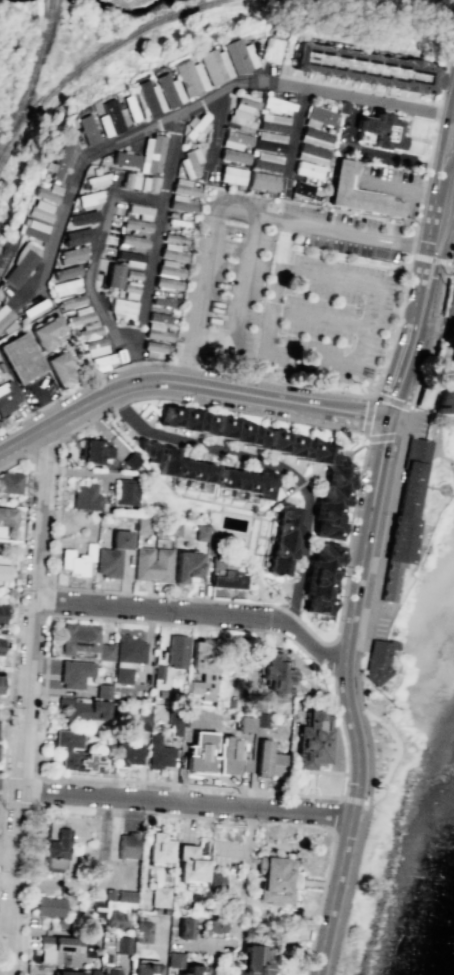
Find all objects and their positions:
railway: (51, 3)
park: (140, 5)
building: (271, 50)
building: (240, 55)
railway: (92, 57)
building: (366, 64)
building: (215, 65)
building: (190, 77)
railway: (30, 82)
building: (167, 90)
road: (365, 90)
building: (148, 97)
road: (37, 100)
building: (277, 105)
building: (128, 108)
road: (184, 109)
building: (244, 111)
road: (451, 113)
building: (106, 115)
building: (318, 116)
building: (273, 122)
road: (217, 128)
building: (86, 129)
parking lot: (348, 130)
building: (380, 130)
road: (297, 131)
road: (445, 132)
building: (315, 137)
building: (236, 139)
building: (269, 141)
building: (151, 153)
building: (312, 153)
road: (371, 153)
building: (234, 156)
building: (125, 159)
building: (59, 160)
building: (266, 161)
building: (189, 163)
road: (445, 166)
building: (308, 169)
building: (232, 175)
building: (263, 181)
parking lot: (393, 184)
building: (183, 187)
road: (400, 188)
building: (306, 189)
building: (48, 193)
building: (362, 195)
building: (90, 198)
building: (181, 203)
building: (40, 210)
road: (239, 212)
road: (431, 215)
building: (84, 217)
road: (451, 222)
building: (136, 225)
road: (415, 226)
building: (33, 228)
road: (442, 229)
road: (451, 233)
building: (77, 236)
road: (441, 236)
building: (173, 238)
building: (133, 240)
road: (287, 246)
road: (153, 247)
road: (445, 250)
building: (171, 252)
road: (450, 252)
road: (96, 253)
building: (72, 254)
road: (432, 257)
building: (130, 258)
road: (421, 258)
road: (437, 261)
road: (444, 262)
building: (168, 268)
building: (65, 272)
building: (132, 274)
road: (428, 274)
building: (113, 275)
road: (244, 276)
building: (453, 276)
power tower: (444, 281)
road: (350, 282)
building: (167, 283)
building: (64, 286)
parking lot: (286, 289)
building: (129, 290)
building: (70, 301)
building: (121, 309)
road: (420, 309)
building: (79, 315)
road: (324, 317)
road: (255, 318)
building: (4, 319)
building: (453, 321)
road: (443, 327)
building: (87, 330)
building: (44, 332)
road: (427, 335)
road: (433, 336)
building: (94, 347)
building: (152, 349)
building: (19, 357)
building: (105, 360)
road: (188, 361)
road: (178, 364)
building: (58, 368)
road: (401, 374)
road: (139, 380)
building: (445, 390)
building: (7, 396)
road: (341, 410)
road: (368, 410)
road: (402, 413)
building: (183, 419)
road: (394, 420)
parking lot: (132, 422)
road: (398, 428)
building: (236, 431)
building: (147, 449)
building: (93, 451)
building: (130, 460)
road: (271, 463)
building: (183, 467)
building: (9, 482)
building: (246, 482)
road: (301, 484)
building: (335, 486)
building: (125, 491)
building: (85, 496)
road: (278, 499)
road: (259, 509)
building: (404, 515)
building: (7, 516)
building: (210, 516)
building: (142, 522)
building: (169, 529)
road: (386, 529)
building: (199, 532)
building: (281, 539)
building: (112, 554)
building: (2, 558)
building: (77, 560)
building: (151, 564)
road: (371, 564)
building: (185, 566)
building: (2, 574)
building: (223, 575)
building: (322, 582)
road: (17, 599)
road: (51, 601)
road: (341, 606)
building: (1, 610)
road: (199, 614)
parking lot: (382, 619)
road: (181, 625)
road: (360, 626)
building: (78, 638)
building: (0, 640)
road: (357, 642)
building: (175, 650)
building: (105, 651)
building: (126, 656)
road: (331, 659)
building: (379, 664)
building: (201, 669)
building: (74, 672)
building: (276, 672)
building: (158, 673)
building: (0, 682)
building: (160, 693)
road: (346, 697)
road: (29, 700)
building: (229, 702)
building: (255, 702)
building: (86, 705)
road: (359, 705)
building: (192, 717)
building: (261, 719)
building: (141, 721)
building: (173, 721)
building: (243, 724)
building: (313, 739)
building: (74, 751)
park: (390, 751)
road: (392, 752)
building: (127, 753)
building: (157, 753)
building: (199, 754)
building: (230, 756)
building: (267, 760)
road: (316, 771)
road: (188, 785)
road: (347, 799)
road: (359, 801)
road: (176, 802)
road: (36, 805)
road: (336, 813)
road: (199, 817)
building: (127, 844)
building: (53, 845)
building: (158, 847)
building: (190, 863)
building: (274, 879)
building: (215, 882)
road: (29, 890)
building: (108, 894)
building: (125, 896)
building: (158, 896)
road: (320, 896)
building: (48, 906)
building: (95, 908)
building: (112, 919)
building: (61, 923)
building: (214, 926)
building: (183, 927)
building: (142, 931)
building: (122, 944)
building: (58, 949)
building: (173, 959)
building: (251, 961)
building: (144, 968)
building: (110, 970)
building: (192, 970)
building: (65, 972)
building: (93, 972)
building: (39, 974)

